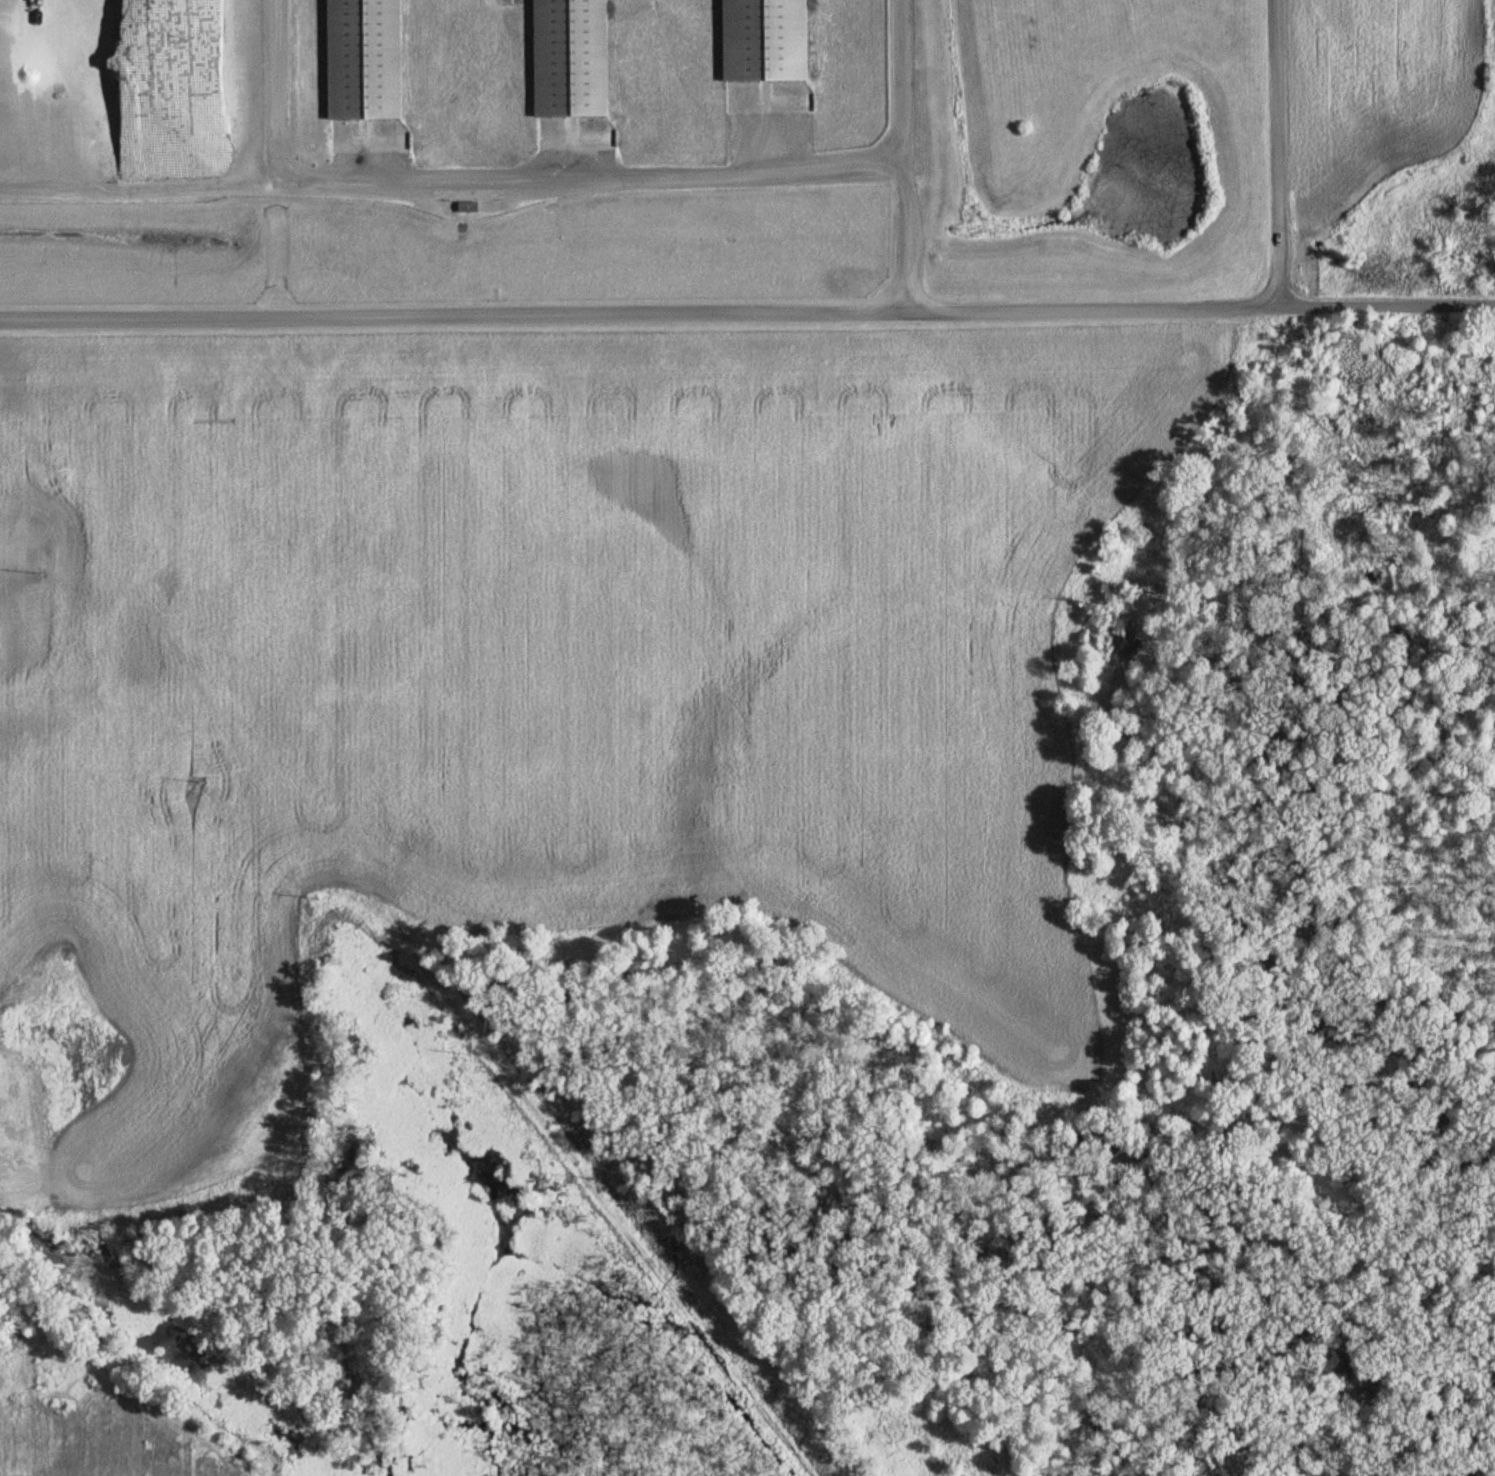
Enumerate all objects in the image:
building: (24, 29)
building: (758, 41)
building: (565, 59)
building: (358, 60)
road: (1279, 154)
road: (583, 177)
building: (463, 207)
road: (905, 239)
road: (747, 312)

